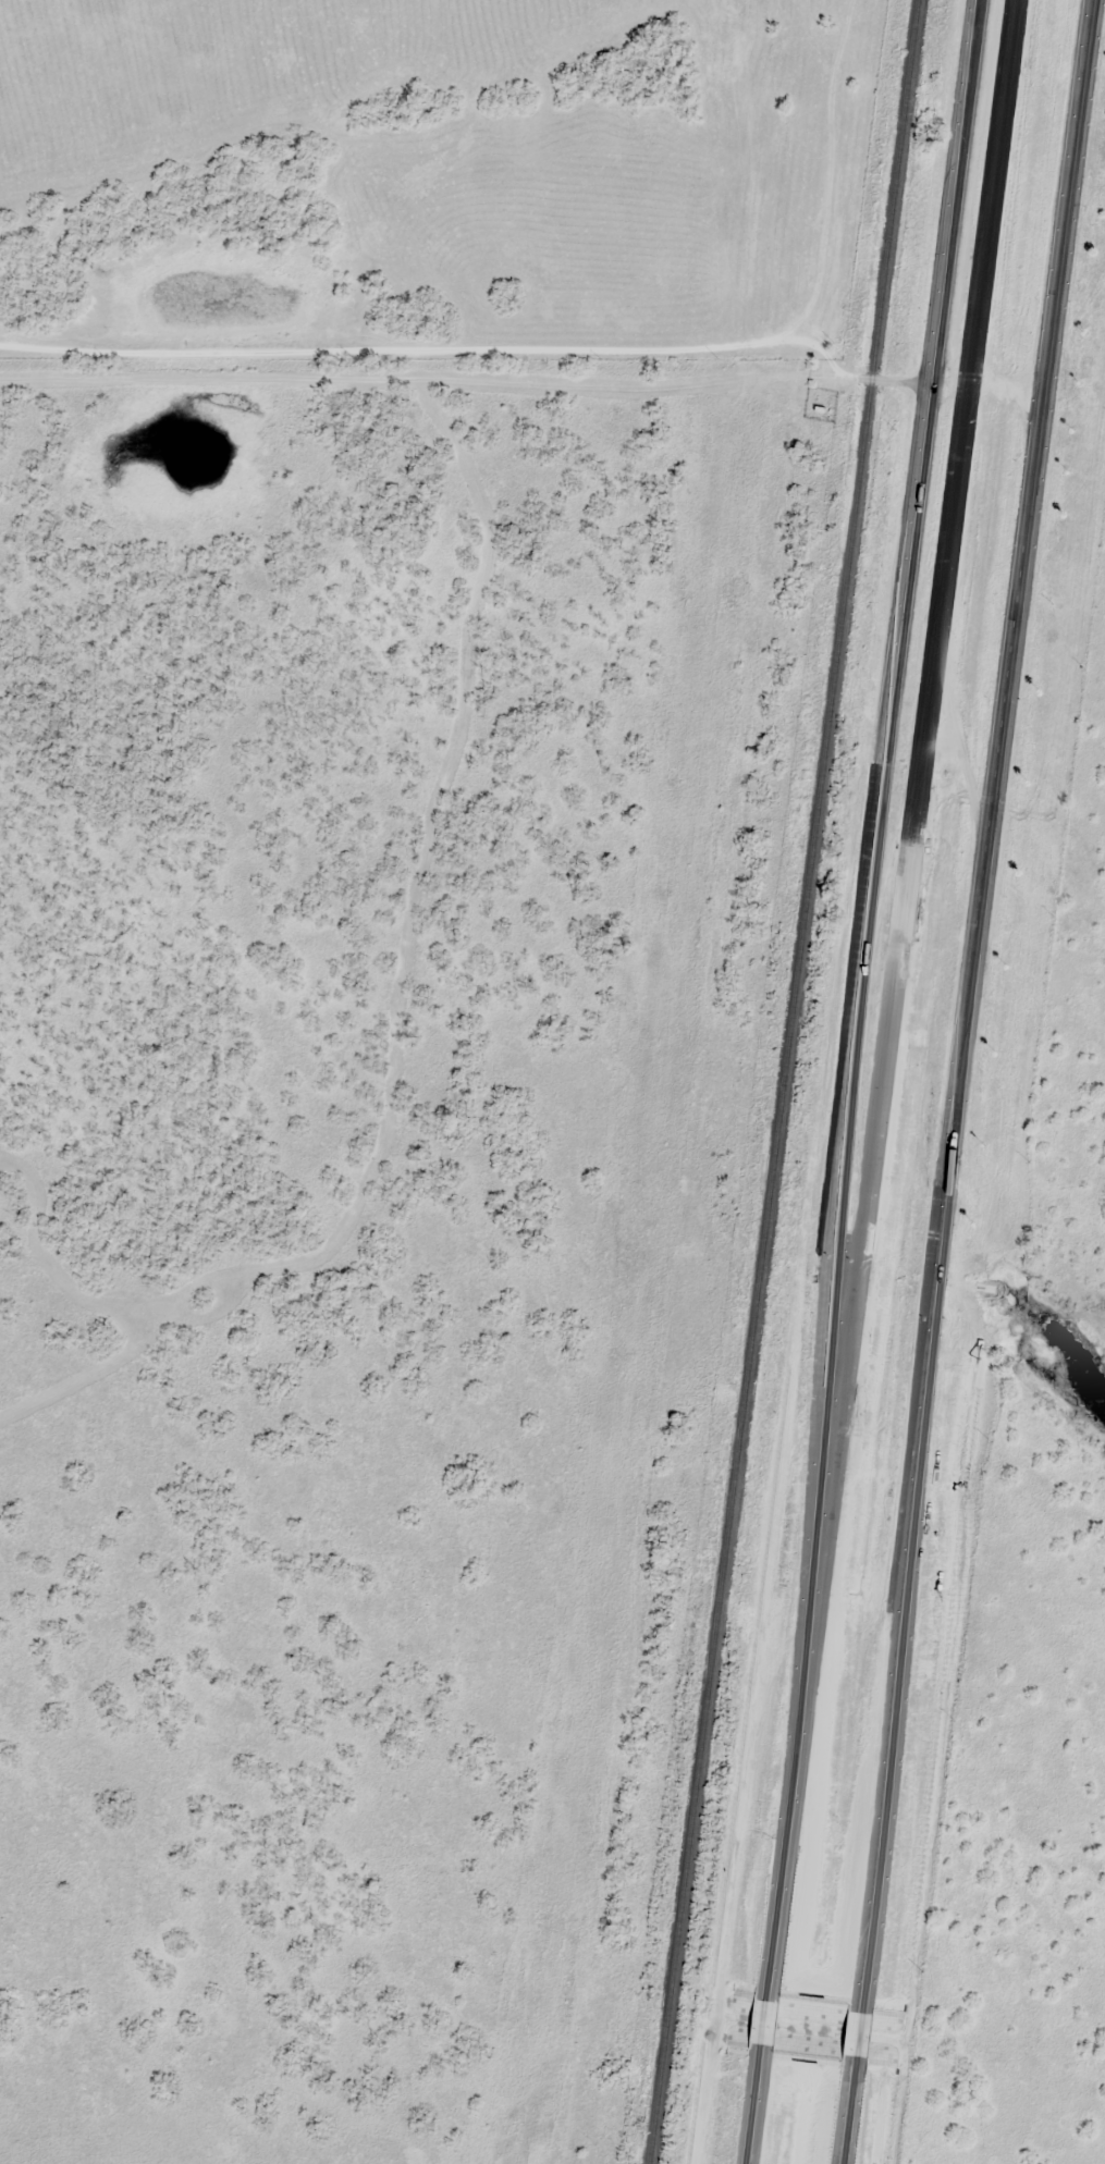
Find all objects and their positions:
road: (951, 190)
road: (434, 370)
road: (899, 379)
road: (914, 497)
road: (918, 778)
road: (963, 997)
railway: (782, 1081)
road: (849, 1084)
road: (793, 1771)
road: (762, 2018)
road: (859, 2027)
road: (751, 2107)
road: (849, 2111)

